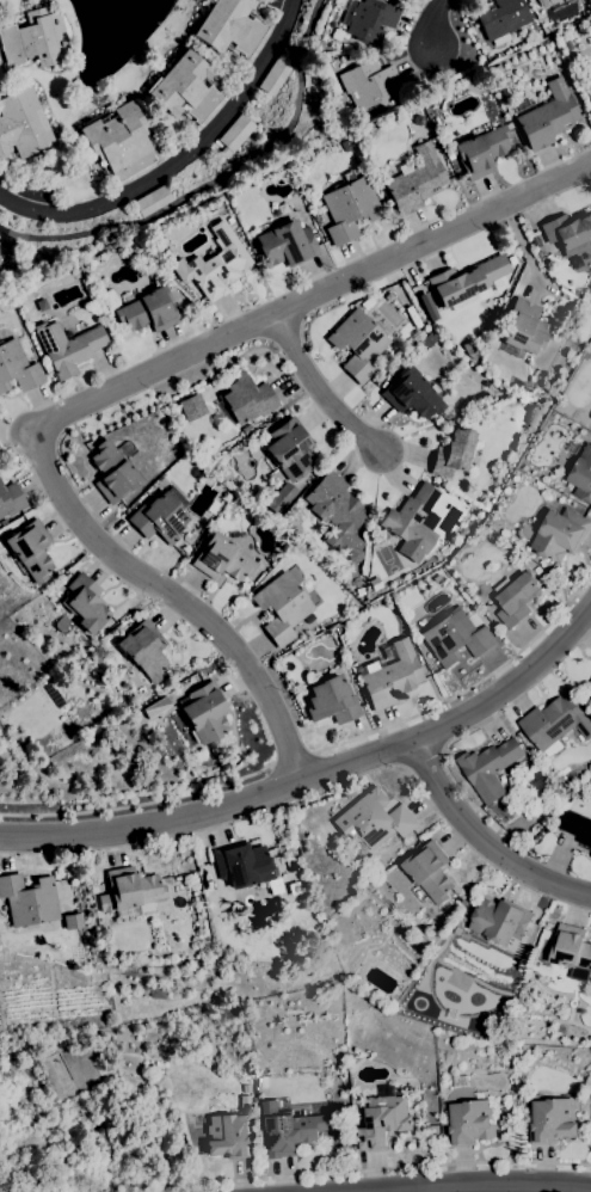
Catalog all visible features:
building: (550, 2)
building: (506, 16)
building: (369, 18)
road: (447, 23)
building: (228, 26)
building: (35, 38)
building: (589, 73)
building: (275, 75)
building: (369, 84)
building: (185, 87)
building: (590, 104)
building: (548, 116)
building: (21, 124)
building: (235, 134)
building: (118, 140)
building: (481, 150)
building: (449, 155)
road: (183, 160)
building: (415, 180)
building: (154, 199)
building: (349, 205)
building: (229, 220)
building: (567, 232)
building: (535, 239)
building: (287, 244)
building: (554, 245)
building: (578, 259)
building: (214, 264)
building: (467, 283)
building: (499, 283)
road: (309, 296)
building: (148, 311)
building: (524, 326)
building: (357, 343)
building: (67, 346)
building: (17, 367)
road: (320, 393)
building: (411, 394)
building: (247, 398)
building: (190, 406)
building: (289, 449)
building: (453, 453)
building: (112, 472)
building: (581, 474)
building: (10, 499)
building: (234, 505)
building: (213, 506)
building: (335, 506)
building: (159, 518)
building: (413, 518)
building: (199, 527)
building: (560, 534)
building: (383, 535)
building: (31, 549)
building: (222, 558)
building: (359, 591)
building: (516, 600)
road: (173, 601)
building: (84, 603)
building: (282, 607)
building: (455, 638)
building: (143, 650)
building: (392, 676)
road: (470, 680)
building: (590, 681)
building: (332, 700)
building: (589, 702)
building: (205, 712)
building: (555, 721)
building: (202, 758)
road: (290, 758)
building: (488, 768)
road: (319, 778)
road: (137, 803)
building: (373, 819)
building: (577, 827)
road: (482, 843)
building: (590, 855)
building: (242, 865)
building: (290, 866)
building: (430, 871)
building: (94, 889)
building: (129, 890)
building: (29, 899)
building: (500, 921)
building: (438, 922)
building: (572, 952)
building: (155, 991)
building: (261, 1081)
building: (247, 1088)
building: (245, 1101)
building: (552, 1120)
building: (383, 1122)
building: (469, 1123)
building: (288, 1130)
building: (228, 1136)
road: (369, 1167)
road: (492, 1185)

